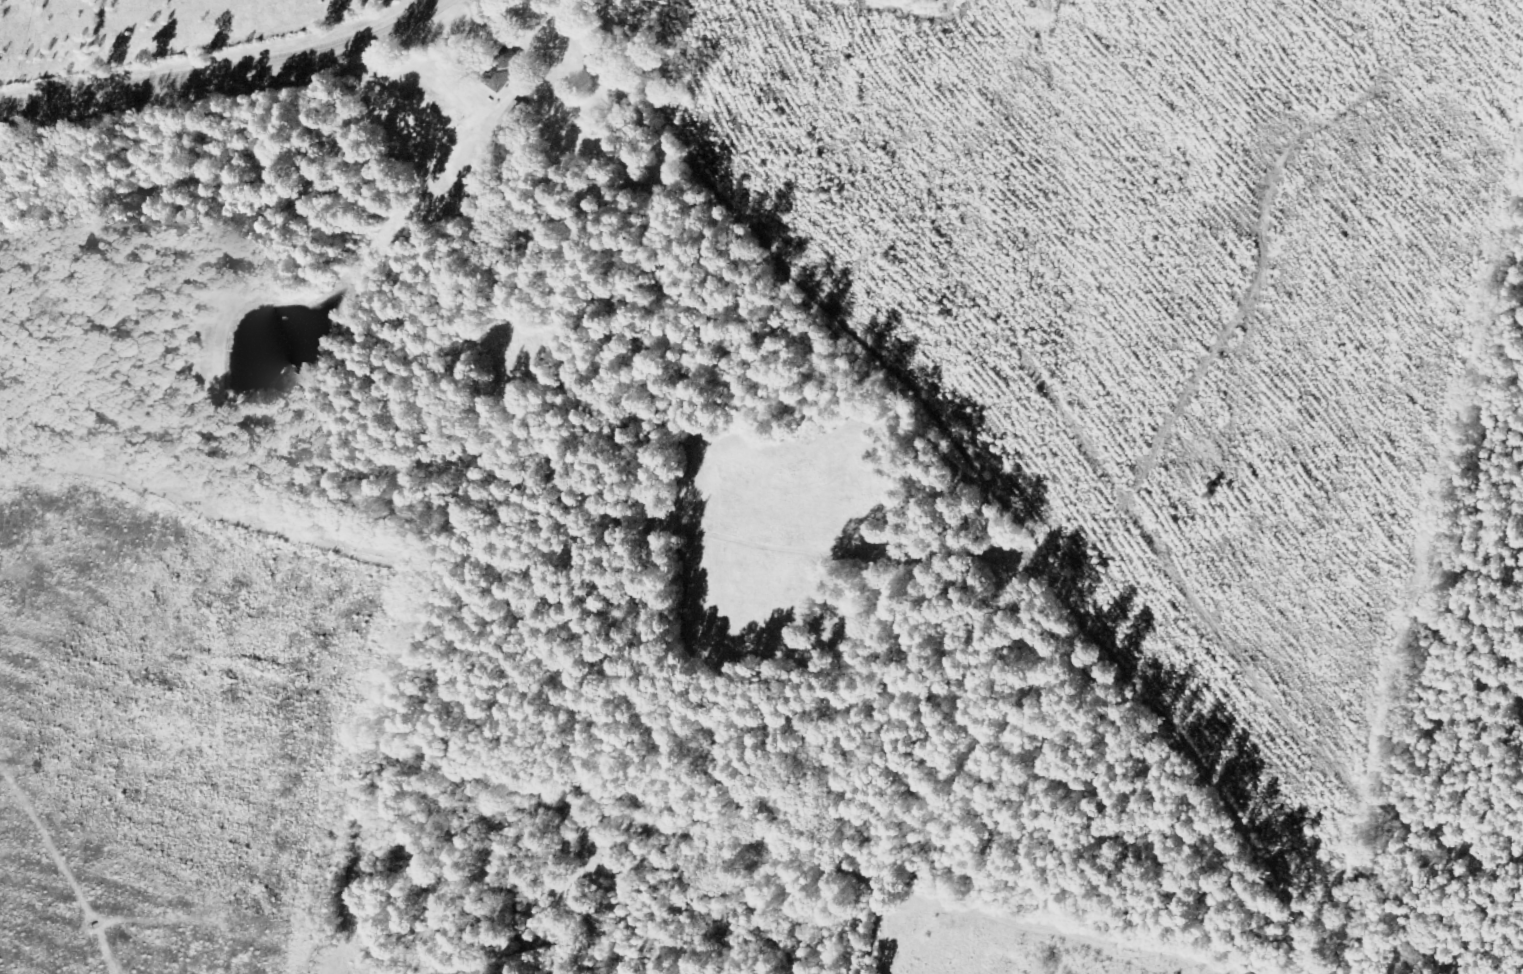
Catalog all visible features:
road: (223, 72)

